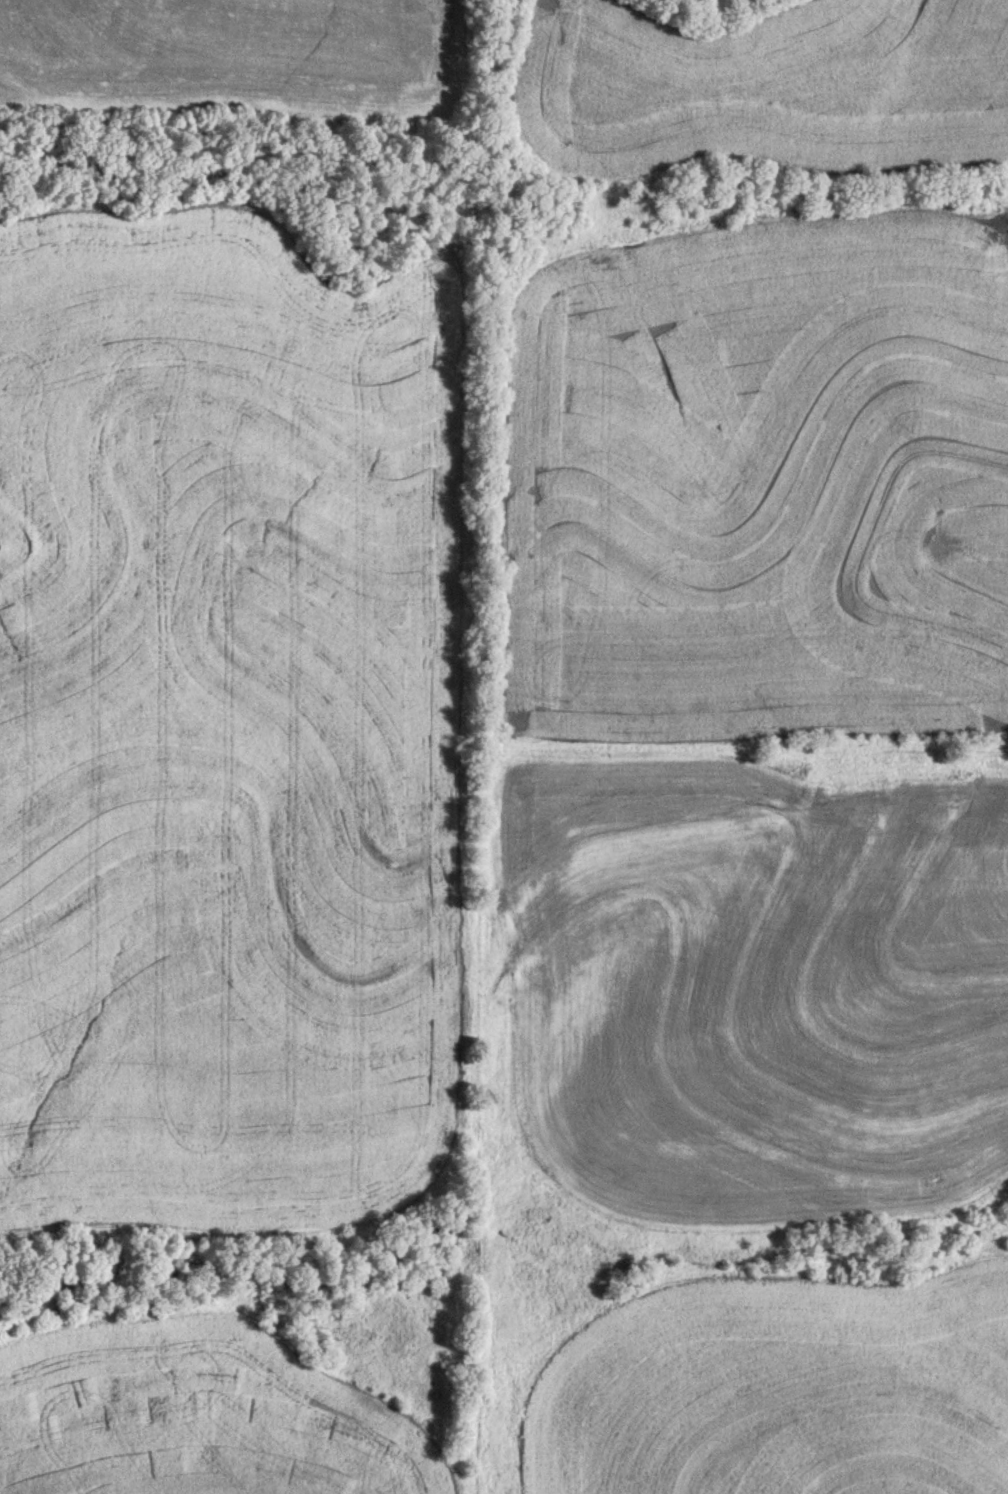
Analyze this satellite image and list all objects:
building: (316, 193)

